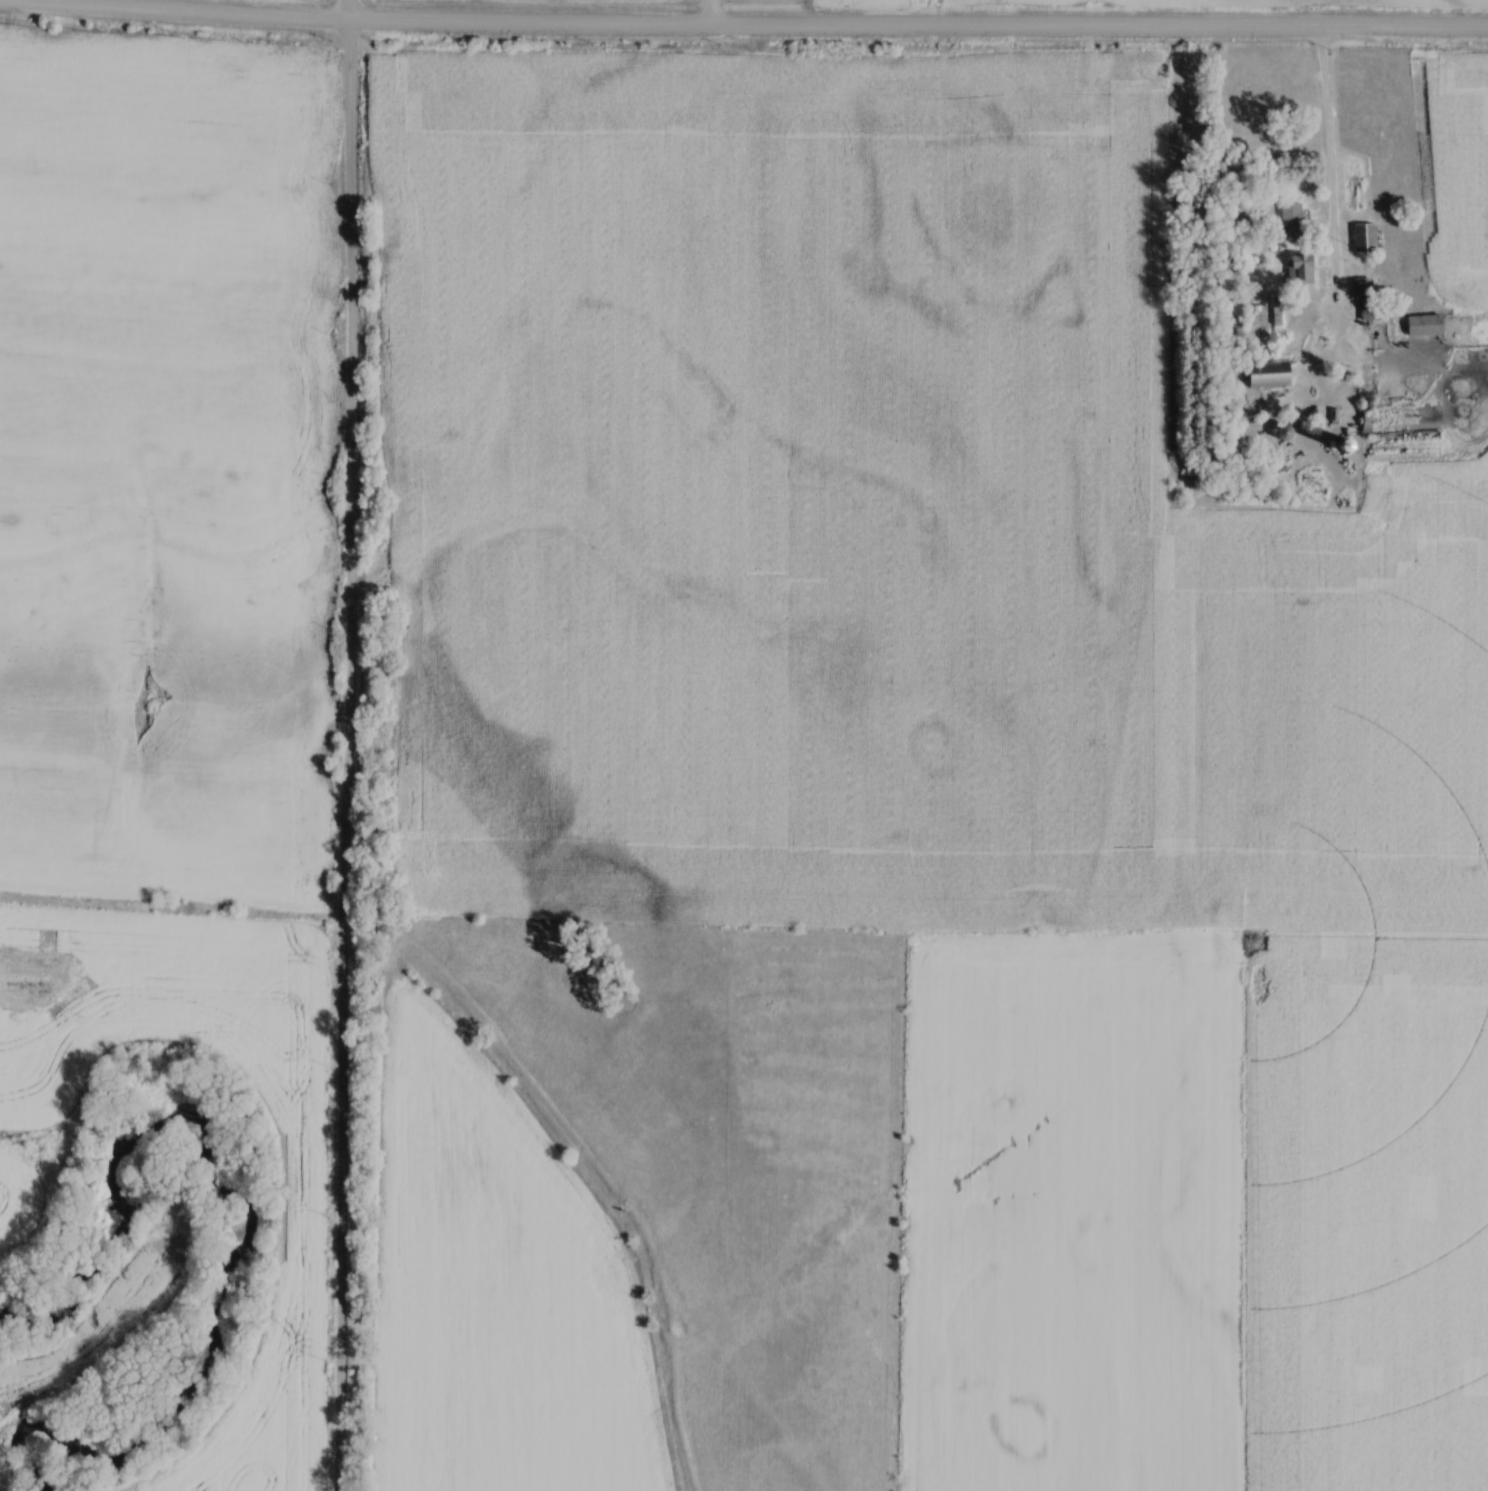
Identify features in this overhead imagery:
road: (712, 14)
road: (743, 29)
road: (1330, 168)
building: (1295, 223)
building: (1369, 239)
building: (1305, 272)
building: (1368, 299)
building: (1428, 327)
building: (1274, 375)
road: (349, 745)
river: (257, 1223)

